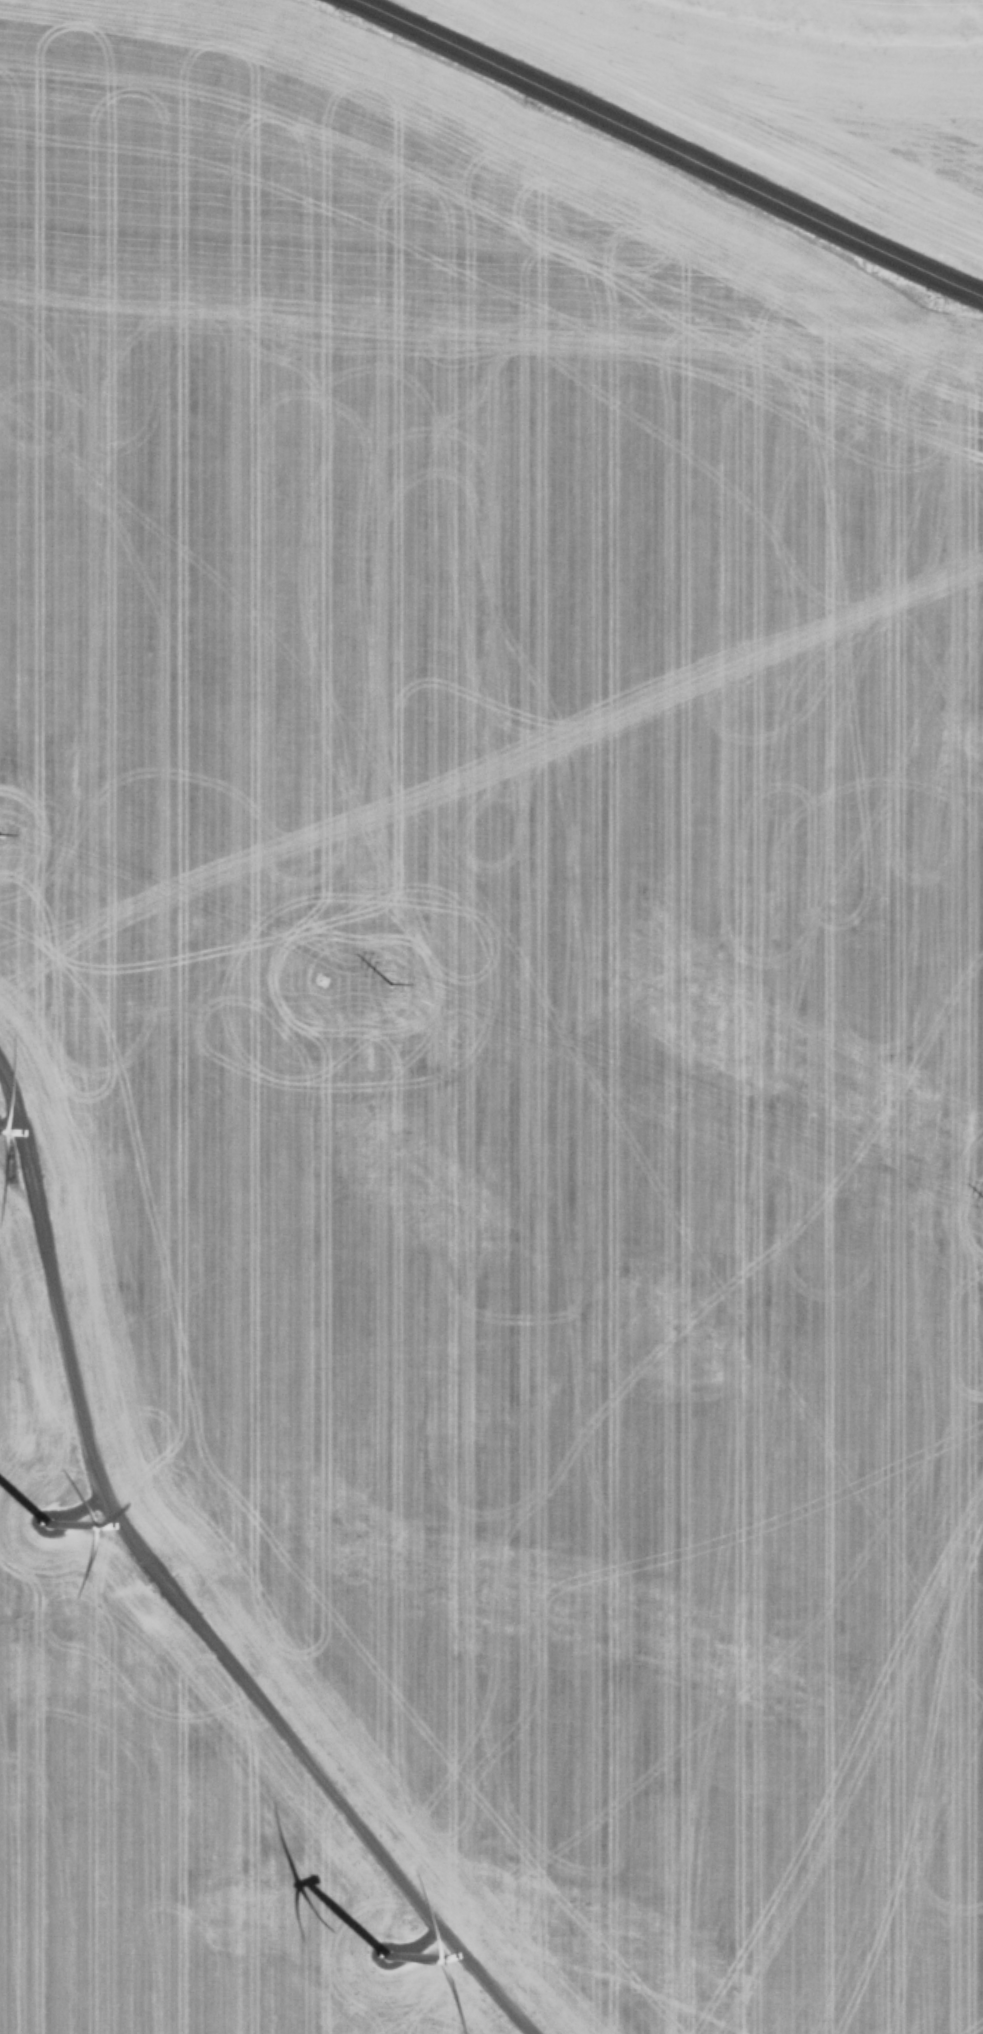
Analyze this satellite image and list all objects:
road: (674, 145)
power tower: (388, 979)
wind turbine: (48, 1527)
road: (179, 1593)
wind turbine: (388, 1960)

